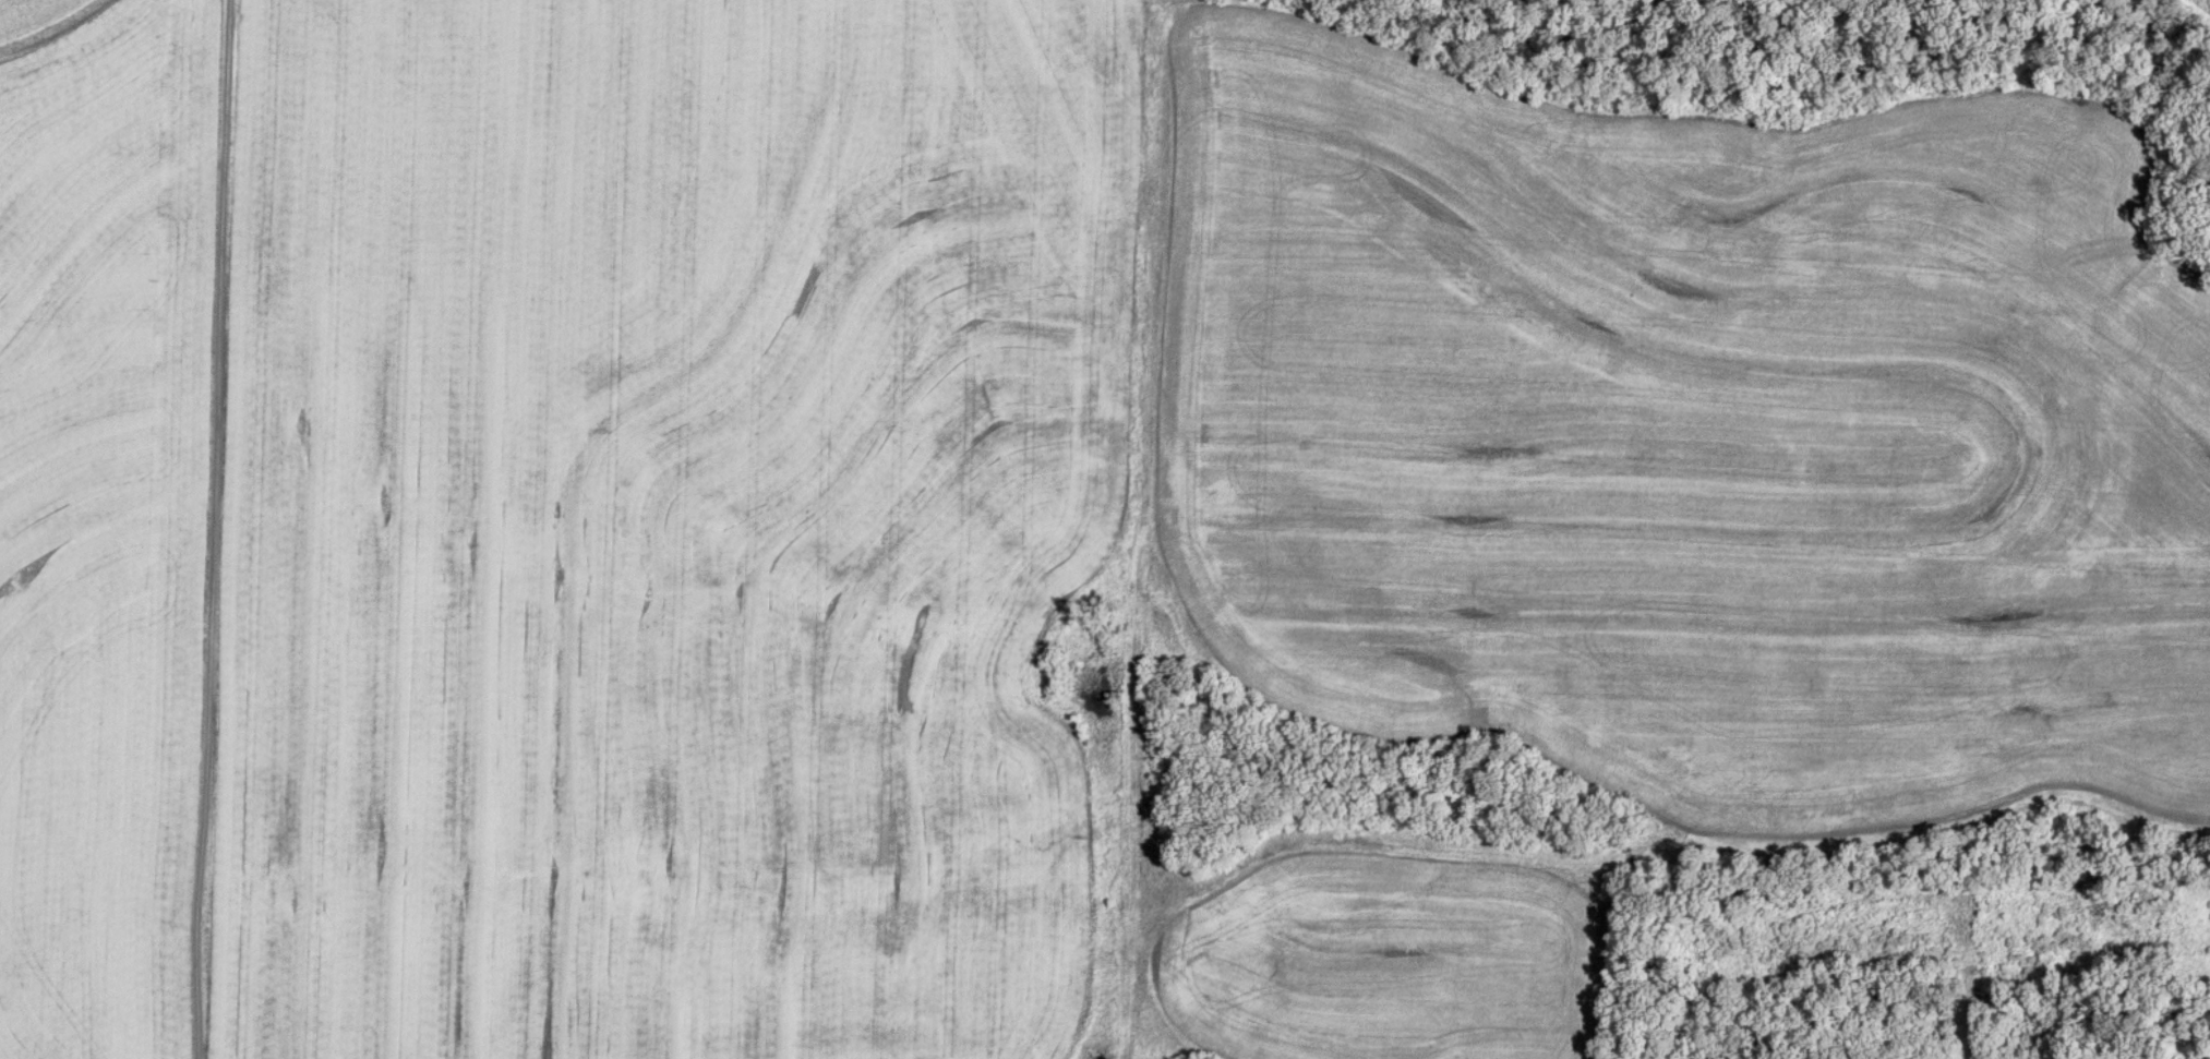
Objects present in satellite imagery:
road: (207, 529)

